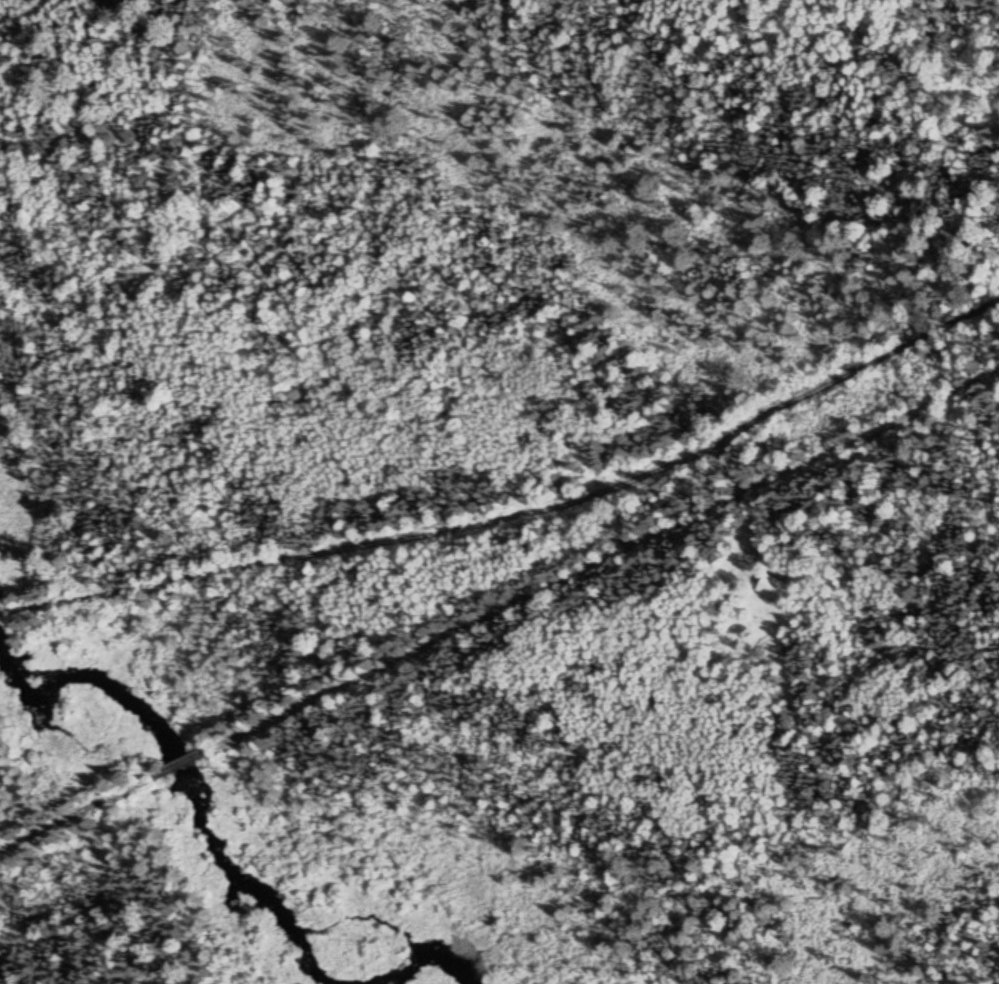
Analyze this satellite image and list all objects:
road: (524, 515)
railway: (605, 561)
building: (775, 589)
road: (5, 612)
railway: (185, 761)
railway: (79, 814)
river: (219, 851)

